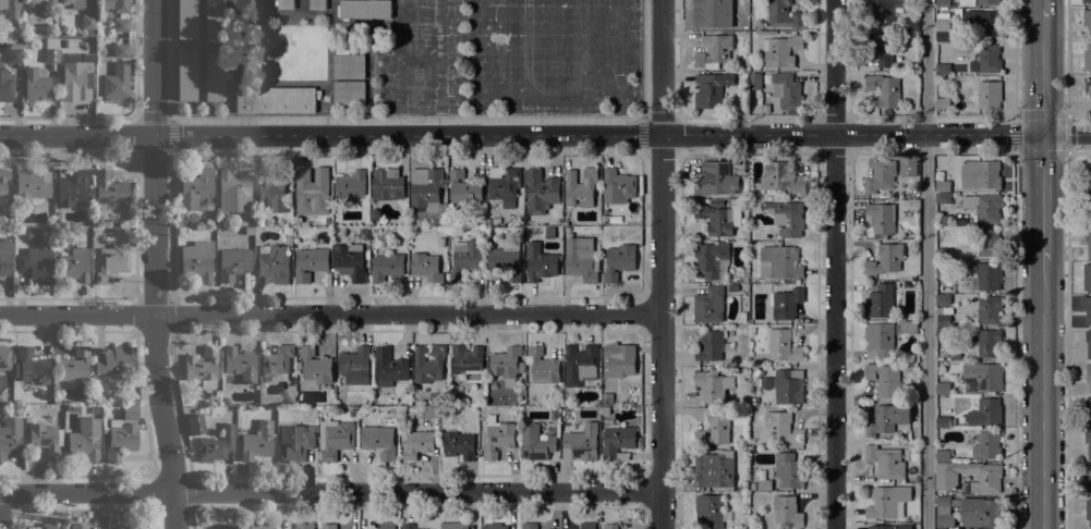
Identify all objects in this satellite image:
building: (1086, 1)
building: (987, 2)
building: (40, 3)
building: (74, 3)
building: (943, 3)
road: (1043, 3)
building: (284, 4)
building: (317, 4)
building: (10, 8)
building: (364, 9)
building: (884, 10)
building: (711, 12)
building: (122, 14)
building: (784, 14)
building: (957, 14)
building: (185, 19)
building: (213, 19)
building: (1087, 19)
building: (88, 21)
building: (984, 23)
building: (910, 25)
building: (944, 28)
building: (63, 42)
building: (881, 49)
building: (120, 50)
building: (779, 50)
building: (713, 51)
building: (14, 52)
building: (51, 54)
building: (989, 58)
road: (1015, 58)
road: (1066, 58)
building: (1087, 59)
building: (348, 65)
building: (942, 69)
road: (1043, 69)
building: (185, 74)
building: (213, 75)
building: (743, 75)
building: (76, 77)
building: (116, 81)
building: (755, 81)
building: (36, 83)
building: (5, 85)
building: (1088, 85)
building: (885, 89)
building: (711, 90)
building: (786, 91)
building: (349, 93)
building: (989, 95)
building: (275, 99)
building: (942, 103)
building: (765, 108)
road: (1015, 115)
road: (404, 119)
traffic signals: (1043, 133)
road: (545, 134)
road: (171, 135)
road: (642, 135)
building: (980, 174)
building: (881, 175)
building: (715, 179)
building: (781, 179)
building: (1088, 180)
building: (350, 184)
building: (386, 184)
building: (33, 185)
building: (505, 186)
building: (617, 186)
building: (943, 186)
building: (2, 187)
building: (580, 187)
building: (72, 188)
building: (110, 188)
building: (195, 188)
building: (463, 188)
building: (310, 189)
building: (233, 192)
building: (540, 192)
building: (271, 195)
road: (1043, 196)
building: (426, 197)
building: (943, 198)
building: (983, 207)
building: (1088, 208)
building: (193, 217)
building: (882, 218)
building: (324, 219)
building: (718, 219)
building: (788, 220)
building: (945, 220)
building: (8, 221)
building: (258, 223)
building: (375, 223)
building: (101, 229)
building: (289, 230)
building: (374, 230)
building: (87, 231)
building: (180, 231)
building: (34, 234)
building: (1088, 241)
building: (989, 243)
building: (943, 254)
building: (4, 256)
building: (464, 258)
building: (581, 258)
building: (711, 259)
building: (886, 259)
building: (196, 260)
building: (349, 261)
building: (505, 261)
building: (619, 261)
building: (111, 262)
building: (540, 262)
building: (779, 262)
building: (232, 263)
building: (310, 263)
road: (834, 263)
road: (154, 264)
building: (272, 264)
road: (660, 264)
road: (924, 264)
building: (35, 266)
building: (73, 266)
building: (387, 267)
building: (426, 267)
building: (943, 270)
building: (989, 275)
building: (736, 276)
building: (1087, 276)
building: (745, 279)
building: (732, 287)
building: (943, 299)
building: (880, 302)
building: (786, 303)
building: (708, 305)
building: (989, 309)
building: (1088, 309)
road: (330, 313)
building: (945, 317)
building: (908, 327)
building: (942, 333)
building: (880, 340)
road: (1015, 340)
road: (1067, 341)
building: (1088, 342)
building: (989, 343)
building: (712, 346)
building: (784, 346)
building: (4, 357)
building: (113, 360)
building: (354, 360)
building: (618, 360)
building: (277, 361)
building: (240, 362)
building: (469, 362)
building: (428, 364)
building: (580, 364)
building: (73, 365)
building: (507, 365)
building: (32, 366)
building: (542, 366)
building: (202, 367)
building: (389, 367)
building: (314, 369)
building: (757, 373)
building: (1088, 373)
building: (984, 374)
building: (885, 379)
building: (97, 385)
building: (713, 385)
building: (789, 386)
building: (970, 386)
building: (943, 389)
road: (1043, 394)
building: (607, 397)
building: (391, 402)
building: (559, 402)
building: (1088, 409)
building: (606, 410)
building: (753, 410)
building: (130, 411)
building: (985, 411)
building: (431, 413)
building: (566, 413)
building: (887, 418)
building: (944, 421)
building: (195, 425)
building: (715, 429)
building: (778, 429)
building: (10, 436)
building: (121, 438)
building: (335, 438)
building: (497, 438)
building: (46, 440)
building: (257, 441)
building: (379, 441)
building: (617, 441)
building: (84, 442)
building: (580, 442)
building: (294, 443)
building: (417, 443)
building: (535, 443)
building: (1088, 443)
building: (216, 444)
building: (459, 445)
building: (986, 445)
building: (943, 456)
building: (885, 462)
building: (715, 468)
building: (788, 470)
building: (1087, 478)
building: (764, 484)
building: (984, 484)
building: (743, 487)
building: (753, 488)
road: (329, 492)
building: (890, 501)
road: (1, 510)
building: (711, 510)
building: (787, 510)
building: (1088, 510)
building: (944, 512)
building: (981, 512)
building: (907, 518)
building: (49, 526)
building: (63, 526)
building: (78, 526)
building: (136, 526)
building: (223, 526)
building: (263, 526)
building: (305, 526)
building: (329, 526)
building: (387, 526)
building: (409, 526)
building: (453, 526)
building: (494, 526)
building: (530, 526)
building: (587, 526)
building: (610, 526)
building: (889, 527)

